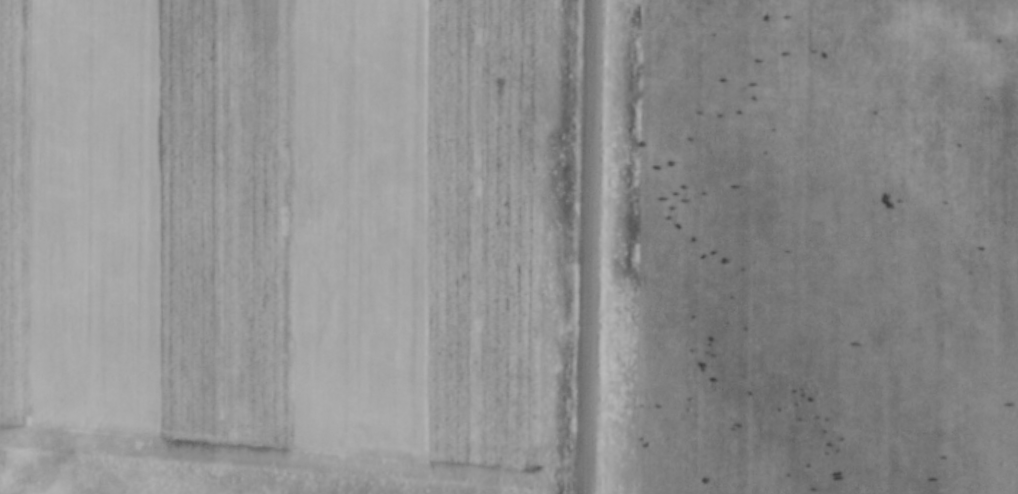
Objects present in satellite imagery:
road: (590, 246)

